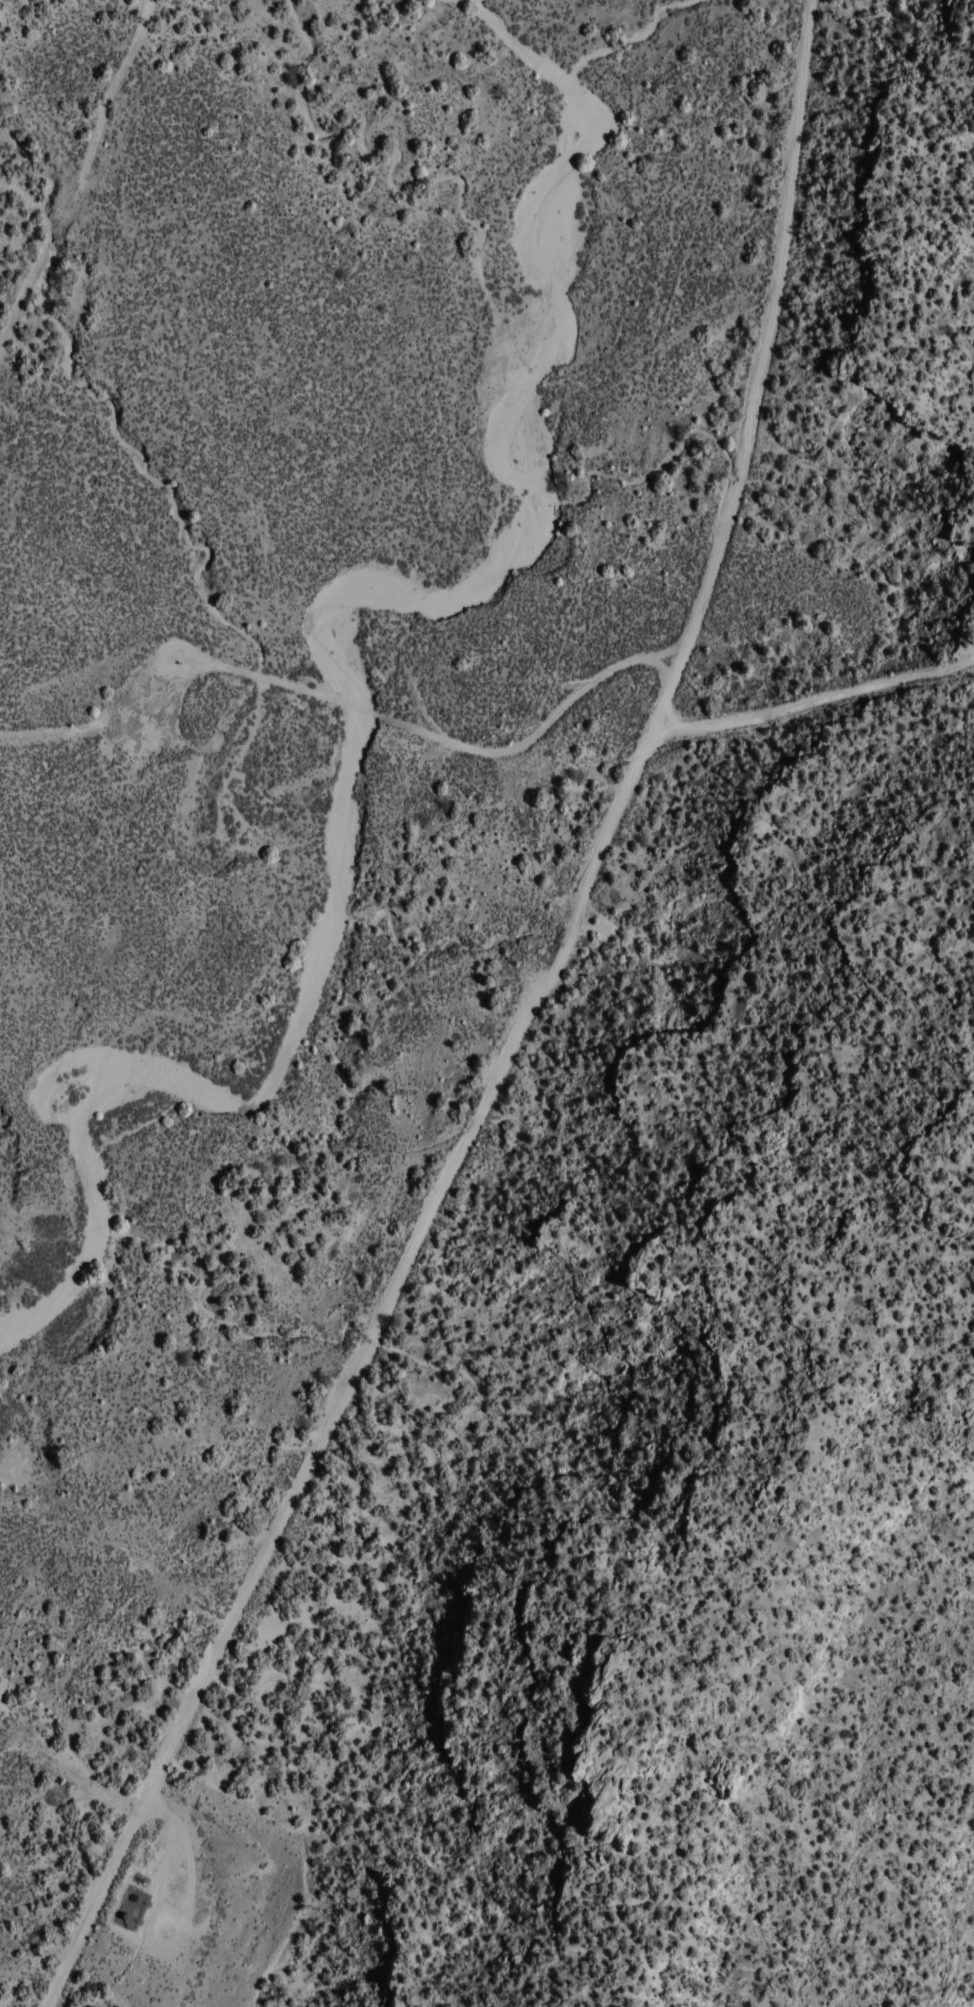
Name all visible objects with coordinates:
road: (408, 718)
road: (572, 967)
road: (159, 1811)

